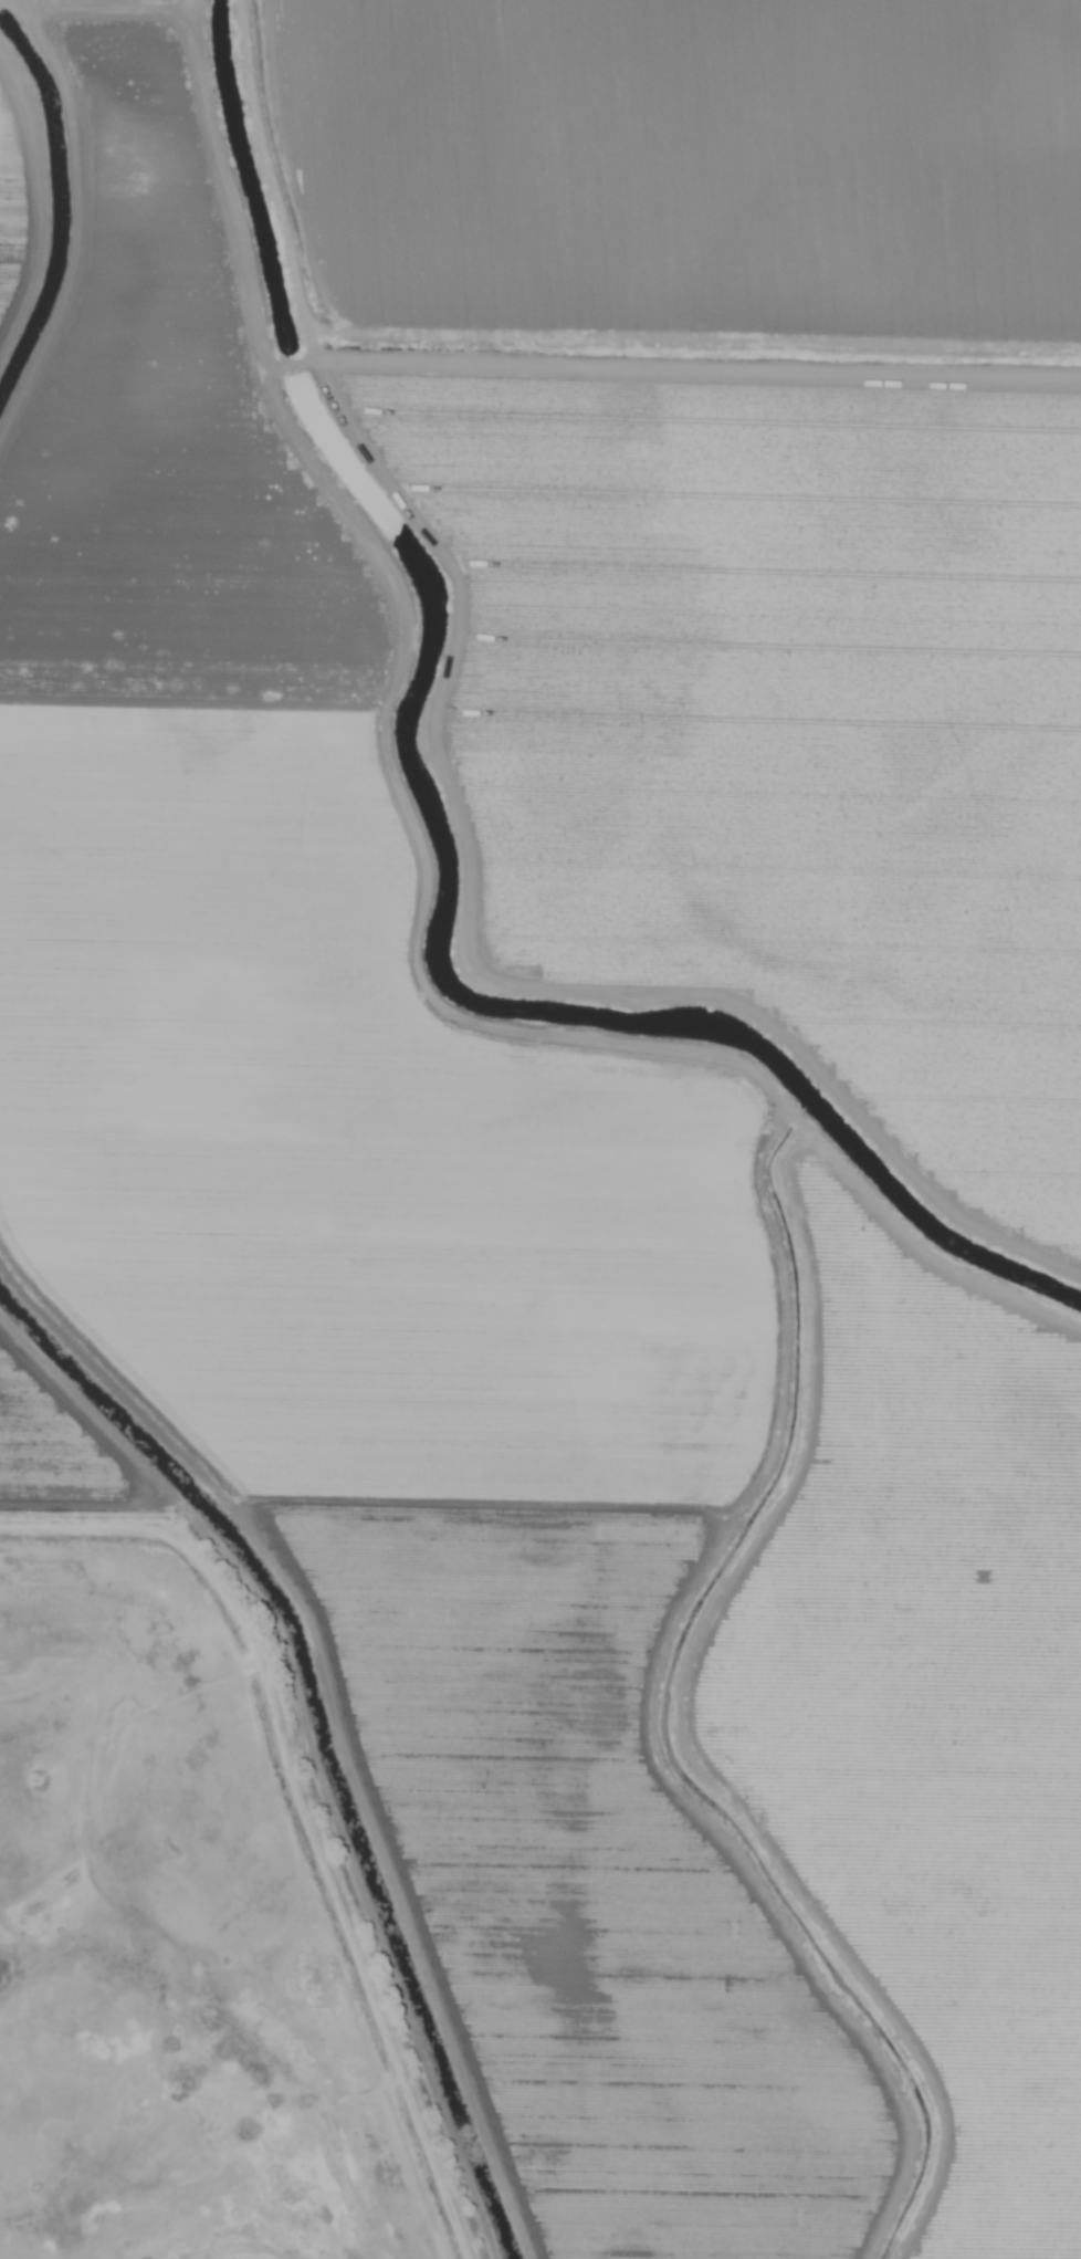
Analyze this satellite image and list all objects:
crop: (587, 1016)

